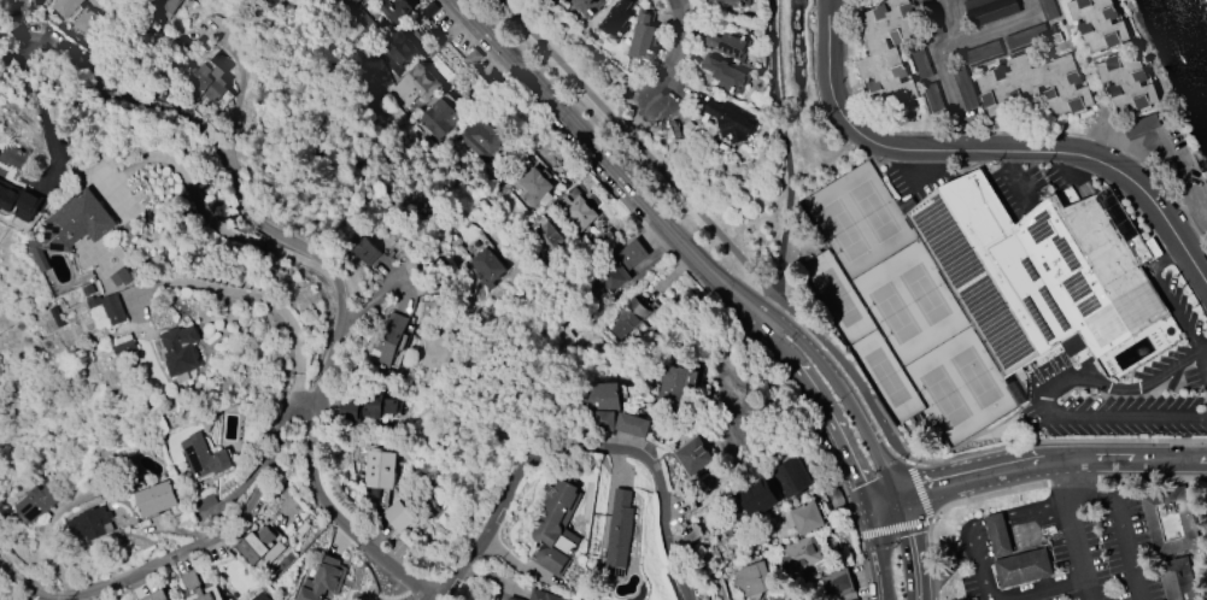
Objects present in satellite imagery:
building: (355, 1)
building: (733, 2)
building: (35, 4)
building: (166, 5)
building: (66, 6)
building: (587, 6)
building: (394, 10)
building: (429, 10)
building: (1048, 10)
building: (990, 11)
building: (931, 18)
building: (616, 19)
road: (954, 22)
building: (1100, 24)
road: (1004, 25)
building: (643, 35)
building: (1026, 36)
building: (727, 43)
road: (674, 51)
building: (887, 51)
road: (20, 52)
building: (400, 52)
building: (984, 53)
building: (471, 57)
building: (921, 64)
building: (723, 73)
building: (209, 81)
building: (1127, 83)
building: (416, 86)
building: (1036, 86)
building: (965, 88)
road: (950, 90)
building: (933, 98)
building: (438, 119)
building: (728, 119)
road: (569, 123)
building: (1142, 125)
building: (1, 134)
building: (480, 137)
road: (781, 147)
road: (986, 154)
road: (1178, 157)
building: (535, 187)
road: (191, 195)
building: (7, 200)
park: (873, 210)
building: (575, 213)
building: (75, 223)
park: (842, 228)
road: (713, 229)
building: (546, 239)
building: (364, 252)
building: (37, 253)
building: (486, 267)
building: (1038, 267)
building: (615, 270)
road: (692, 276)
building: (119, 277)
park: (925, 292)
road: (247, 295)
park: (837, 295)
road: (1166, 295)
road: (368, 305)
building: (109, 310)
park: (893, 310)
building: (626, 317)
building: (391, 340)
building: (124, 347)
road: (1205, 349)
building: (176, 353)
road: (328, 353)
road: (818, 358)
road: (798, 371)
park: (886, 375)
park: (975, 375)
building: (675, 384)
parking lot: (1127, 387)
road: (1051, 389)
park: (944, 394)
building: (602, 404)
building: (365, 407)
building: (632, 424)
road: (897, 433)
road: (1066, 442)
building: (205, 457)
building: (695, 457)
road: (912, 460)
road: (1042, 461)
road: (959, 465)
building: (379, 472)
road: (1064, 476)
building: (790, 478)
road: (878, 481)
road: (1068, 483)
road: (919, 492)
road: (658, 495)
building: (757, 498)
building: (157, 499)
building: (39, 502)
building: (204, 502)
road: (494, 512)
traffic signals: (889, 513)
building: (398, 517)
road: (334, 518)
building: (803, 518)
building: (92, 524)
road: (1123, 524)
building: (557, 527)
road: (985, 528)
building: (619, 530)
building: (1171, 540)
building: (262, 546)
road: (914, 551)
road: (1080, 553)
building: (798, 554)
road: (883, 555)
building: (1015, 558)
road: (933, 559)
parking lot: (1086, 559)
road: (947, 570)
building: (323, 581)
building: (750, 581)
building: (837, 584)
road: (1054, 590)
building: (206, 594)
building: (156, 595)
building: (543, 595)
building: (260, 596)
building: (780, 596)
road: (1038, 598)
building: (35, 599)
building: (510, 599)

